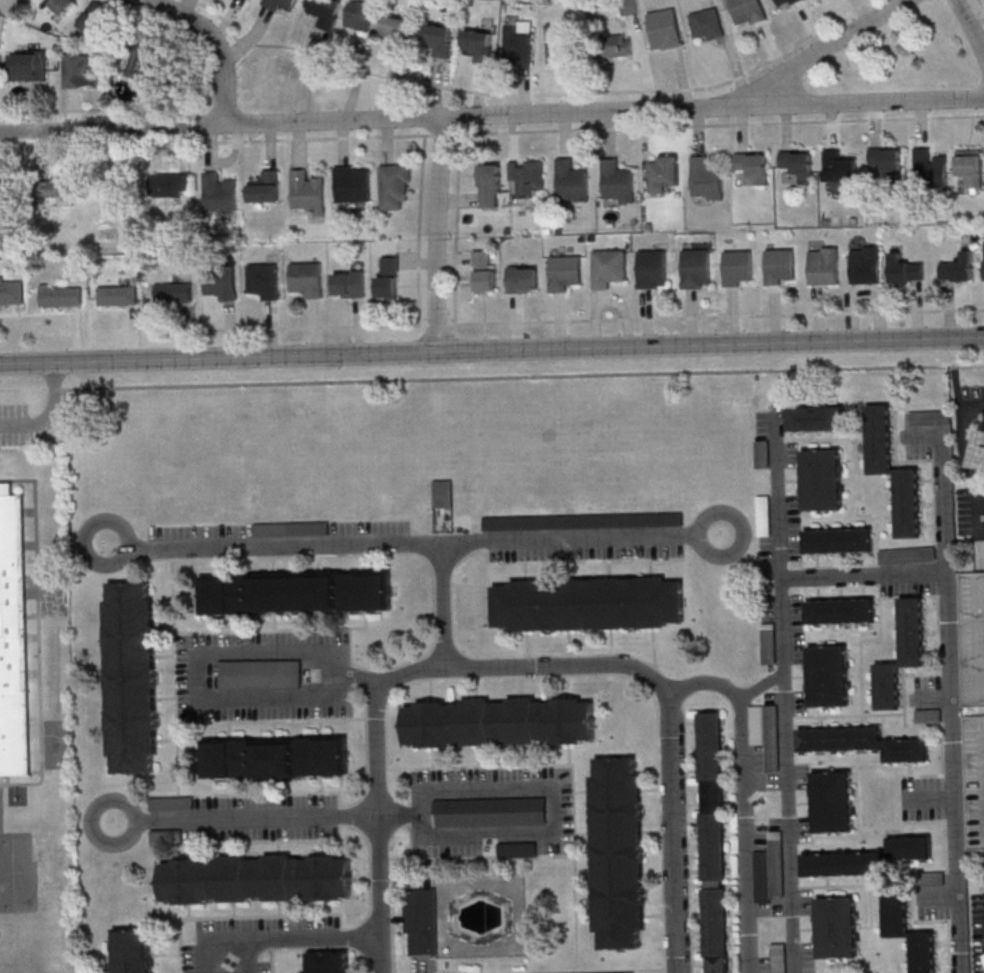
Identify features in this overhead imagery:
building: (786, 3)
building: (280, 4)
building: (64, 5)
building: (629, 7)
building: (325, 11)
building: (747, 12)
building: (361, 15)
building: (96, 19)
building: (707, 24)
road: (971, 26)
building: (396, 28)
building: (665, 29)
building: (438, 39)
building: (558, 42)
building: (518, 43)
building: (479, 44)
building: (619, 44)
road: (831, 46)
road: (218, 48)
building: (145, 63)
building: (28, 65)
building: (81, 69)
road: (532, 93)
road: (491, 115)
road: (600, 128)
building: (886, 163)
building: (798, 164)
building: (753, 166)
building: (970, 166)
building: (839, 167)
building: (929, 167)
building: (662, 173)
building: (528, 176)
building: (706, 178)
building: (572, 181)
building: (617, 181)
building: (353, 183)
building: (171, 184)
building: (395, 185)
building: (491, 185)
building: (60, 186)
building: (265, 186)
building: (4, 190)
building: (309, 191)
building: (219, 193)
road: (437, 234)
building: (778, 266)
building: (865, 266)
building: (823, 267)
building: (608, 268)
building: (737, 268)
building: (696, 269)
building: (957, 269)
building: (651, 270)
building: (485, 271)
building: (903, 271)
building: (563, 273)
building: (387, 277)
building: (307, 279)
building: (523, 279)
building: (264, 280)
building: (349, 283)
building: (221, 284)
building: (176, 292)
building: (12, 293)
building: (124, 295)
building: (56, 296)
road: (585, 319)
road: (492, 351)
road: (954, 373)
road: (491, 376)
road: (47, 413)
building: (816, 418)
road: (962, 443)
building: (982, 464)
building: (893, 470)
building: (822, 480)
building: (443, 493)
building: (582, 521)
building: (291, 528)
building: (839, 540)
road: (411, 547)
building: (983, 551)
road: (864, 578)
building: (296, 592)
building: (588, 604)
road: (443, 607)
building: (841, 611)
building: (18, 644)
building: (769, 649)
building: (902, 654)
road: (198, 656)
road: (479, 667)
building: (261, 674)
building: (829, 675)
building: (131, 678)
road: (763, 684)
road: (786, 689)
road: (951, 701)
building: (973, 701)
building: (928, 716)
building: (499, 722)
building: (757, 731)
building: (862, 742)
building: (276, 757)
road: (552, 788)
road: (743, 796)
building: (833, 801)
building: (166, 803)
building: (490, 813)
road: (245, 819)
road: (674, 822)
building: (714, 842)
building: (517, 850)
building: (619, 853)
building: (868, 858)
road: (378, 867)
building: (770, 869)
building: (255, 878)
building: (896, 911)
building: (421, 921)
building: (837, 927)
road: (290, 939)
building: (134, 950)
road: (254, 956)
road: (201, 957)
building: (779, 958)
building: (328, 962)

